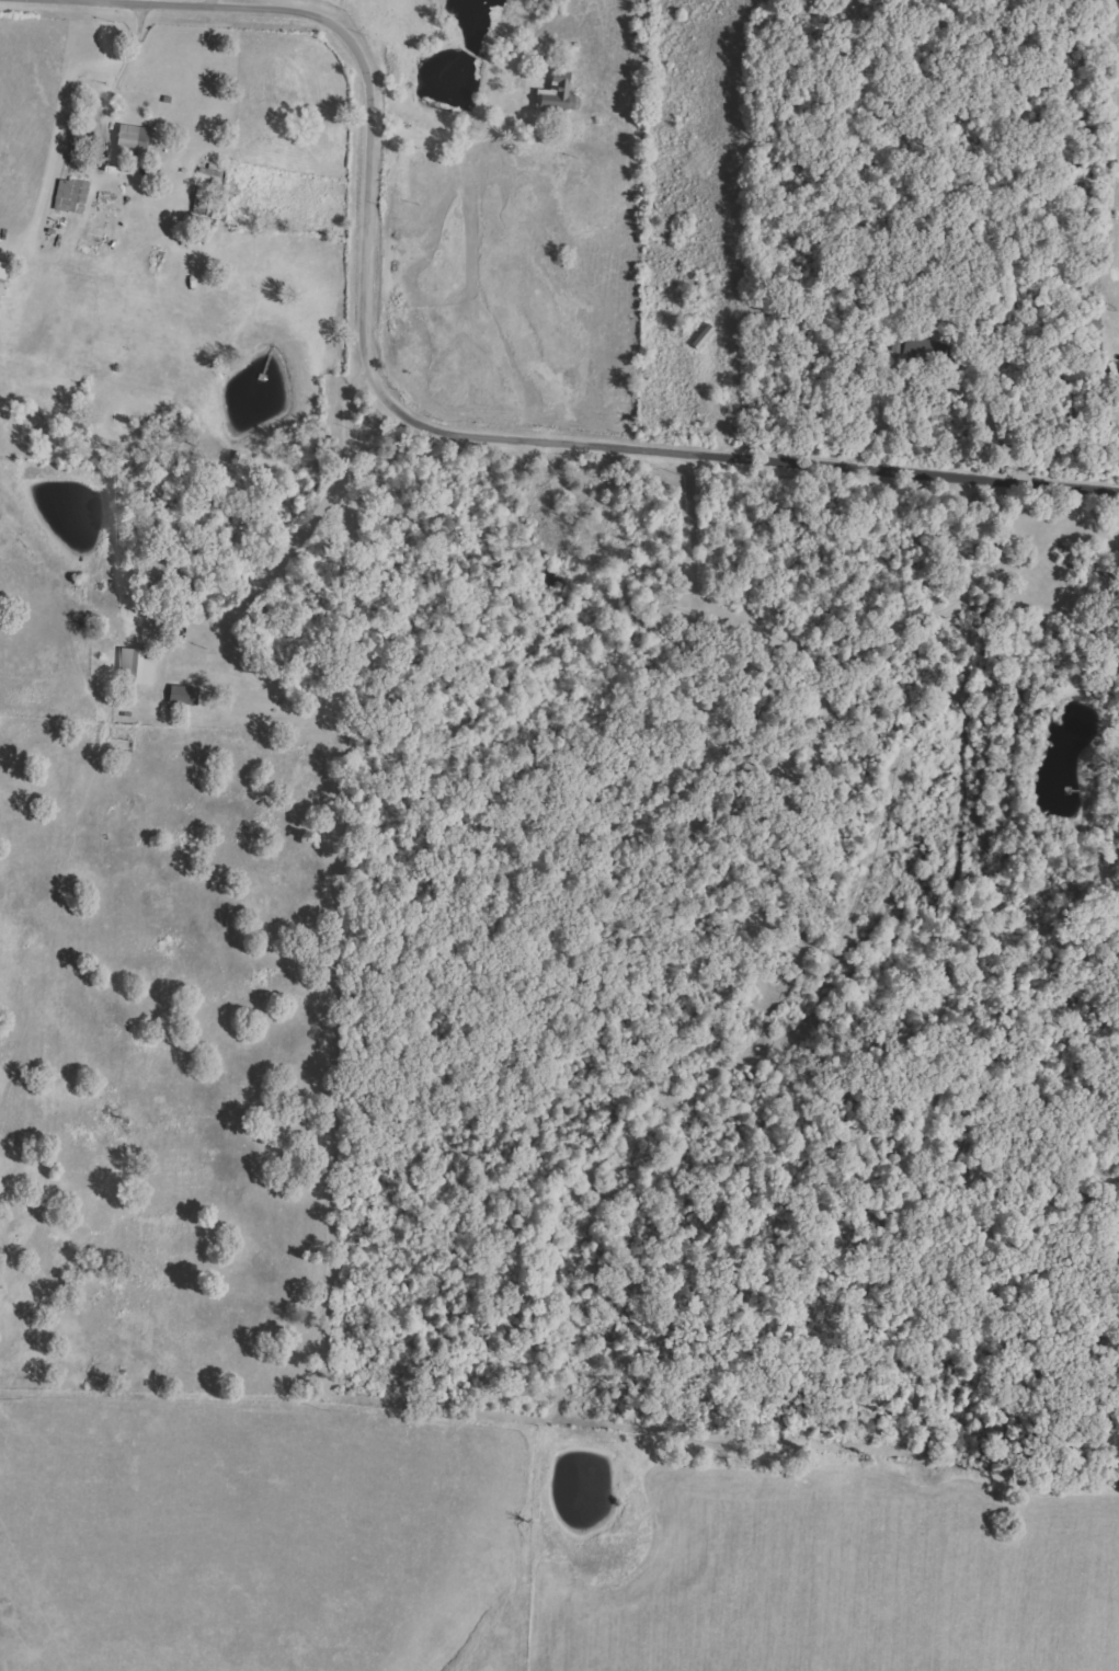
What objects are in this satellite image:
road: (222, 2)
building: (557, 95)
road: (70, 102)
road: (369, 122)
building: (133, 140)
building: (70, 193)
building: (2, 287)
road: (769, 458)
road: (342, 594)
building: (137, 664)
building: (184, 695)

